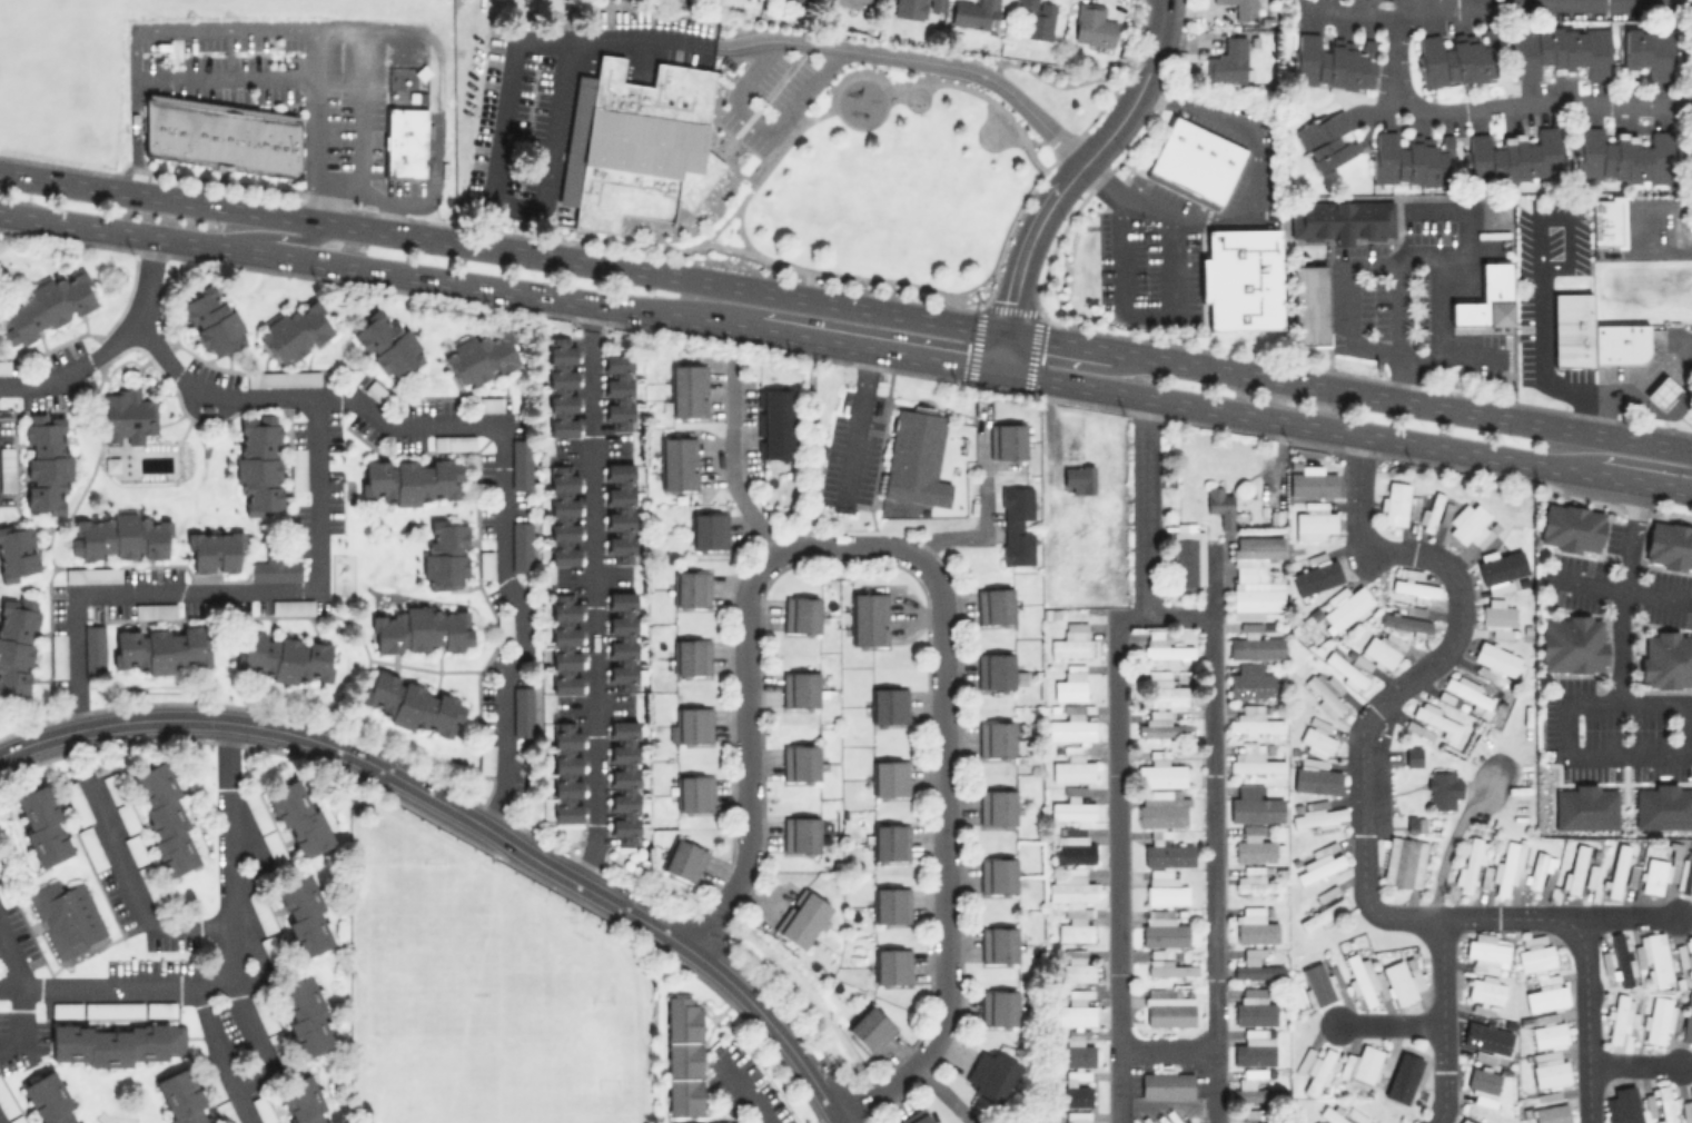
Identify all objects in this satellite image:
building: (803, 0)
building: (853, 2)
building: (916, 7)
building: (1243, 7)
building: (974, 12)
road: (1353, 12)
building: (1035, 18)
building: (1091, 23)
road: (137, 31)
road: (627, 36)
road: (1157, 36)
building: (1561, 50)
building: (1651, 51)
building: (1454, 58)
building: (1228, 61)
building: (1332, 61)
park: (916, 98)
road: (1442, 108)
road: (357, 109)
road: (436, 115)
road: (766, 127)
road: (992, 130)
park: (991, 132)
building: (221, 133)
road: (784, 135)
building: (1327, 139)
building: (404, 140)
building: (636, 143)
road: (318, 149)
building: (1514, 155)
building: (1621, 155)
building: (1197, 158)
building: (1401, 160)
park: (909, 171)
road: (1042, 207)
road: (1253, 207)
road: (384, 212)
building: (1338, 219)
building: (1605, 221)
road: (1653, 226)
road: (278, 236)
road: (502, 248)
road: (1417, 260)
road: (377, 270)
road: (835, 275)
building: (1244, 277)
road: (1537, 294)
building: (1486, 298)
building: (1310, 302)
building: (47, 306)
road: (1144, 315)
building: (212, 321)
road: (1346, 321)
building: (297, 330)
building: (1571, 330)
traffic signals: (1003, 331)
road: (1439, 336)
road: (1057, 340)
building: (388, 344)
building: (1617, 344)
road: (111, 345)
road: (877, 349)
building: (481, 356)
building: (4, 367)
traffic signals: (999, 371)
road: (1643, 371)
building: (283, 377)
building: (562, 386)
building: (687, 389)
building: (376, 391)
building: (619, 391)
building: (1661, 391)
road: (1401, 399)
building: (489, 404)
building: (127, 415)
road: (857, 421)
building: (774, 423)
road: (1345, 430)
road: (499, 434)
building: (1006, 440)
building: (452, 443)
road: (811, 443)
building: (914, 456)
building: (46, 463)
building: (677, 463)
road: (729, 463)
building: (260, 464)
building: (521, 464)
building: (7, 467)
building: (297, 468)
road: (1623, 468)
building: (1078, 478)
building: (412, 480)
building: (1310, 480)
road: (83, 489)
building: (1394, 503)
building: (1220, 504)
road: (1146, 506)
building: (620, 510)
building: (1431, 511)
road: (986, 514)
building: (563, 515)
road: (24, 517)
building: (1313, 521)
building: (1016, 525)
building: (1470, 525)
building: (1571, 527)
building: (708, 530)
building: (118, 537)
building: (1669, 545)
building: (521, 546)
road: (842, 546)
building: (215, 550)
building: (18, 553)
building: (445, 553)
building: (1254, 553)
building: (1187, 554)
building: (1503, 555)
building: (486, 563)
building: (275, 566)
building: (92, 574)
building: (1316, 576)
road: (1211, 580)
building: (1413, 585)
building: (691, 587)
road: (1619, 588)
road: (1622, 592)
road: (225, 594)
building: (1254, 597)
building: (291, 605)
building: (993, 605)
building: (1347, 608)
building: (155, 609)
road: (592, 612)
building: (801, 614)
building: (1497, 615)
building: (868, 618)
building: (1405, 622)
building: (504, 627)
building: (423, 629)
building: (622, 640)
building: (1070, 640)
building: (1572, 643)
building: (565, 644)
building: (17, 645)
building: (1162, 646)
building: (1255, 646)
building: (161, 648)
building: (93, 649)
building: (1382, 649)
building: (58, 655)
building: (691, 656)
building: (283, 657)
building: (1665, 659)
road: (390, 662)
building: (1495, 663)
building: (1344, 669)
building: (996, 670)
building: (1250, 682)
building: (1069, 683)
building: (799, 688)
building: (1164, 688)
building: (1465, 689)
building: (1324, 692)
building: (413, 704)
building: (888, 705)
building: (522, 709)
building: (1437, 720)
building: (1254, 722)
building: (692, 724)
building: (1071, 725)
building: (1162, 728)
building: (999, 737)
building: (1316, 737)
road: (1566, 754)
building: (1413, 755)
building: (486, 758)
building: (1253, 759)
road: (746, 762)
building: (800, 762)
road: (1362, 767)
building: (1071, 769)
building: (1160, 771)
building: (566, 772)
building: (1315, 776)
building: (890, 778)
building: (623, 782)
building: (112, 787)
building: (1442, 789)
building: (693, 792)
building: (76, 802)
building: (1254, 805)
building: (996, 806)
building: (1663, 806)
building: (1584, 807)
building: (255, 809)
building: (1161, 809)
building: (1072, 811)
road: (464, 816)
building: (126, 817)
building: (165, 817)
building: (298, 817)
building: (1318, 817)
building: (1415, 824)
building: (42, 825)
building: (803, 834)
road: (1214, 835)
building: (890, 841)
building: (1253, 847)
building: (90, 848)
building: (274, 848)
road: (1447, 848)
building: (135, 849)
building: (1072, 849)
road: (1118, 855)
building: (1168, 855)
building: (684, 859)
building: (1404, 862)
building: (1320, 863)
road: (944, 864)
building: (1468, 864)
building: (1508, 866)
building: (1575, 868)
building: (1616, 869)
building: (1540, 871)
building: (1685, 871)
building: (997, 874)
building: (1652, 875)
building: (1255, 881)
road: (133, 885)
building: (151, 885)
building: (1070, 890)
building: (1164, 890)
building: (890, 904)
building: (259, 910)
building: (1327, 911)
building: (66, 916)
building: (303, 916)
building: (801, 917)
building: (1254, 926)
building: (1162, 930)
building: (1073, 931)
building: (998, 944)
building: (270, 950)
building: (1486, 952)
building: (1535, 954)
building: (1690, 954)
building: (1654, 956)
building: (1621, 958)
road: (229, 965)
building: (891, 965)
building: (1077, 966)
building: (1172, 968)
building: (1257, 971)
building: (1360, 978)
building: (1402, 980)
building: (1316, 983)
building: (1485, 990)
road: (19, 993)
building: (1546, 994)
building: (998, 1007)
building: (112, 1008)
building: (159, 1008)
building: (1168, 1008)
building: (65, 1010)
building: (261, 1011)
building: (1073, 1011)
building: (1254, 1011)
road: (1586, 1013)
building: (304, 1016)
building: (1622, 1017)
building: (1660, 1018)
road: (1442, 1021)
building: (1686, 1021)
road: (1391, 1022)
building: (870, 1027)
building: (1548, 1034)
building: (1486, 1037)
road: (255, 1038)
building: (276, 1042)
building: (116, 1043)
park: (498, 1045)
road: (1168, 1046)
building: (1255, 1047)
building: (1075, 1052)
road: (222, 1055)
building: (683, 1055)
building: (1362, 1063)
road: (1633, 1065)
building: (1313, 1067)
building: (1550, 1071)
building: (991, 1074)
building: (1405, 1074)
building: (208, 1080)
building: (1166, 1084)
building: (1482, 1085)
building: (1253, 1091)
road: (941, 1093)
building: (1072, 1094)
building: (180, 1097)
road: (745, 1097)
building: (48, 1099)
building: (301, 1101)
building: (6, 1102)
building: (1660, 1103)
building: (1622, 1104)
building: (261, 1109)
building: (1688, 1109)
building: (224, 1112)
building: (1250, 1112)
building: (1551, 1113)
building: (1339, 1114)
building: (1077, 1116)
building: (916, 1117)
building: (16, 1119)
building: (1464, 1121)

